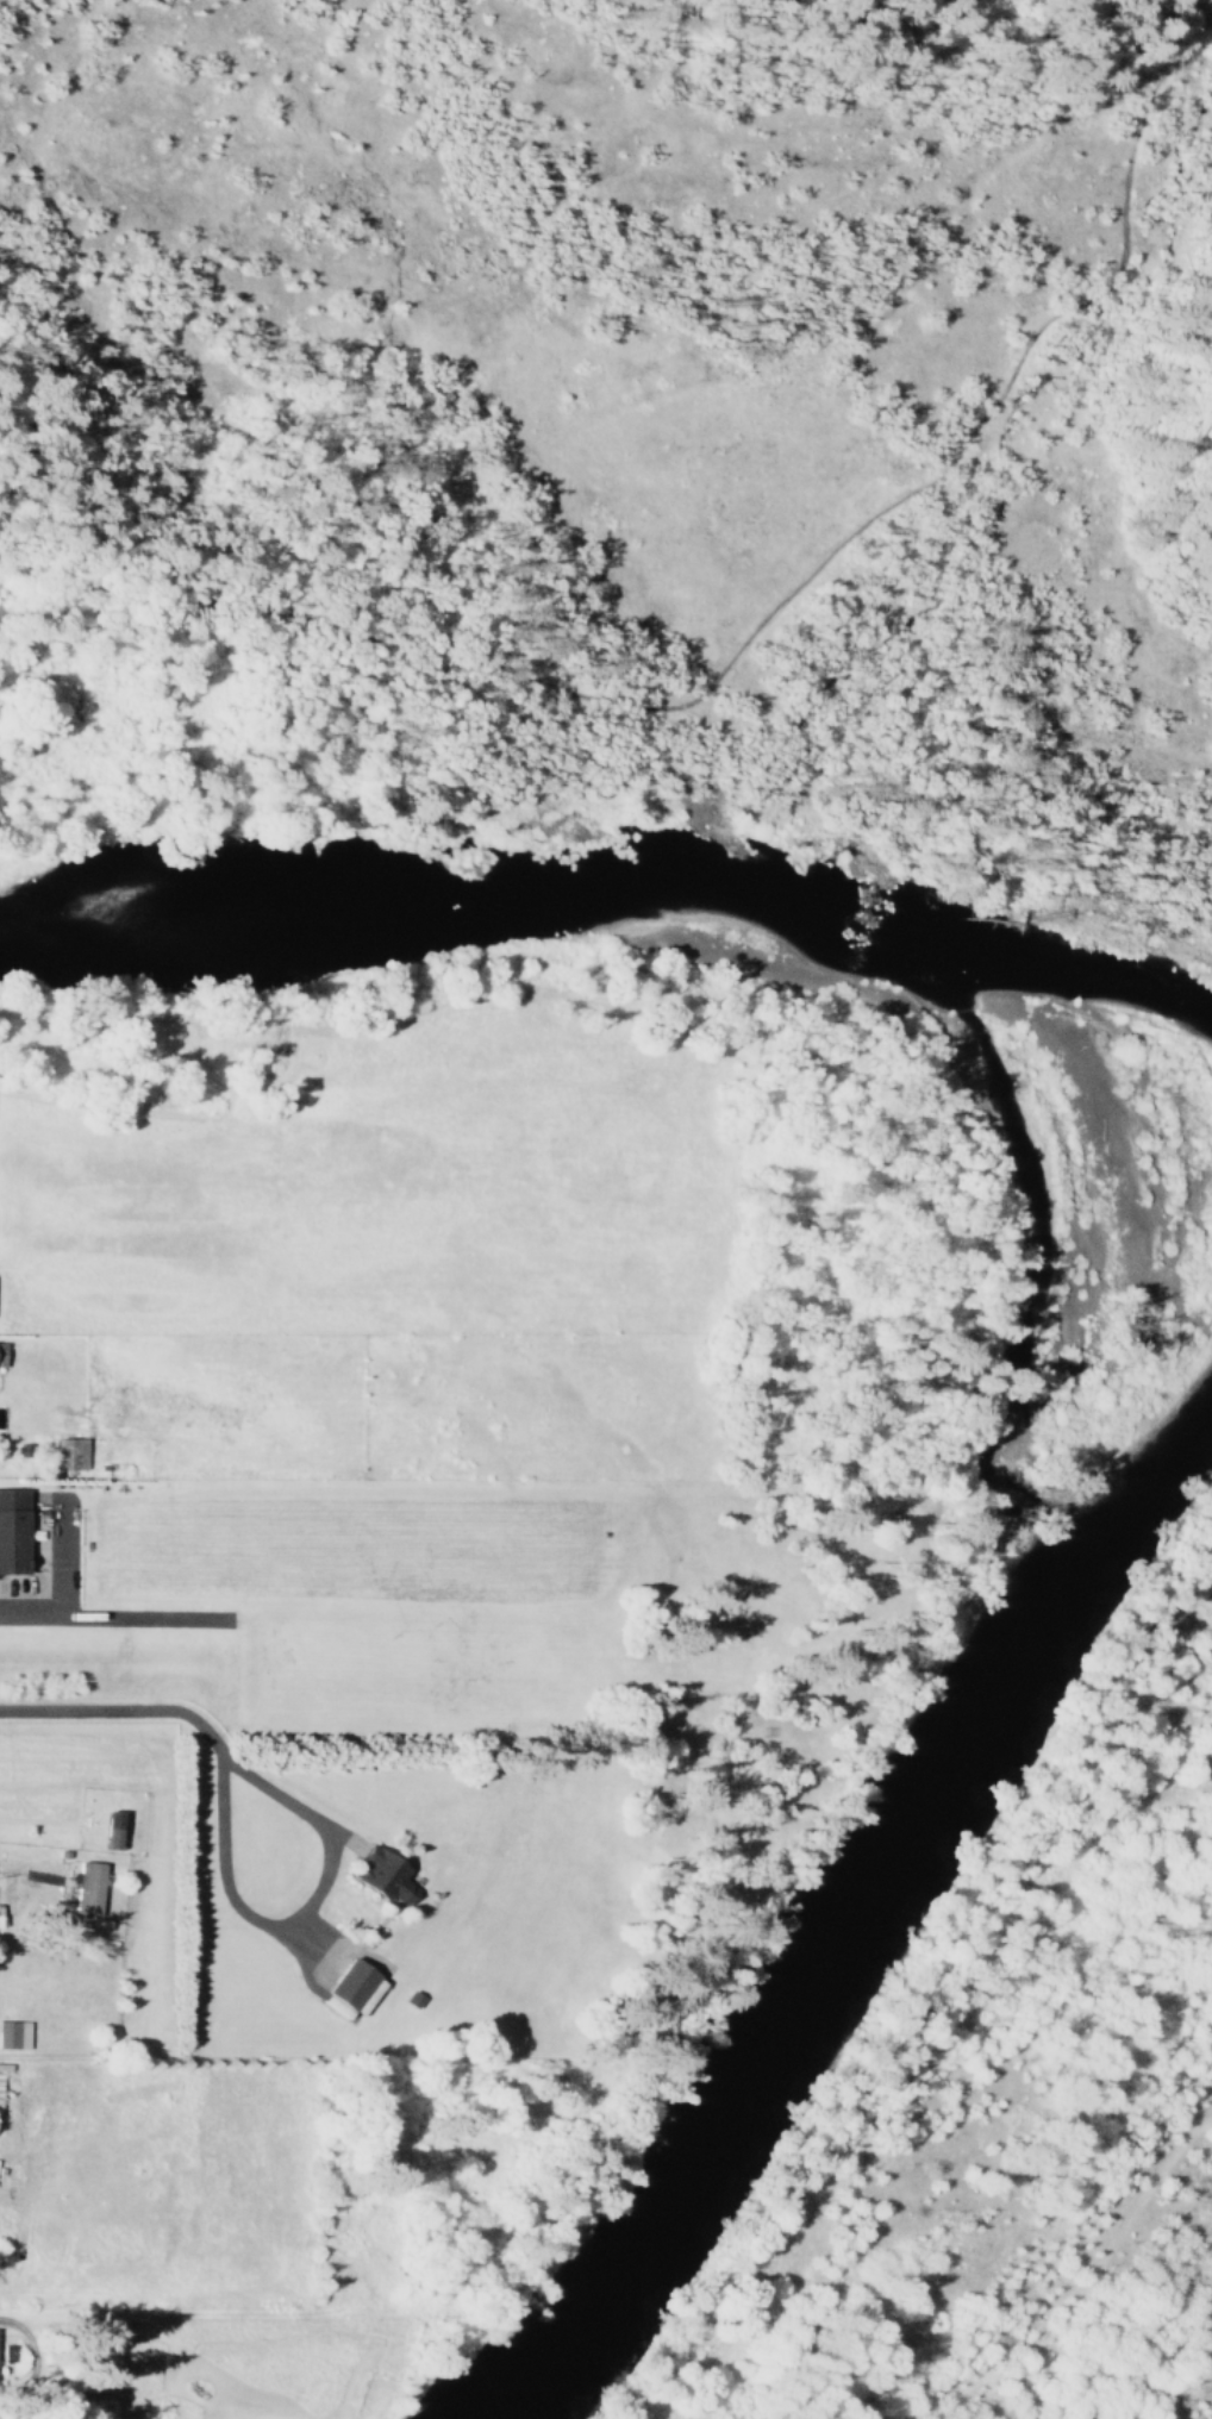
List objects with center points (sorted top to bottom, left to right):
road: (754, 633)
river: (614, 917)
building: (0, 1342)
building: (65, 1452)
building: (10, 1530)
building: (106, 1829)
building: (376, 1876)
building: (83, 1887)
river: (867, 1917)
building: (349, 1986)
building: (12, 2033)
building: (4, 2351)

